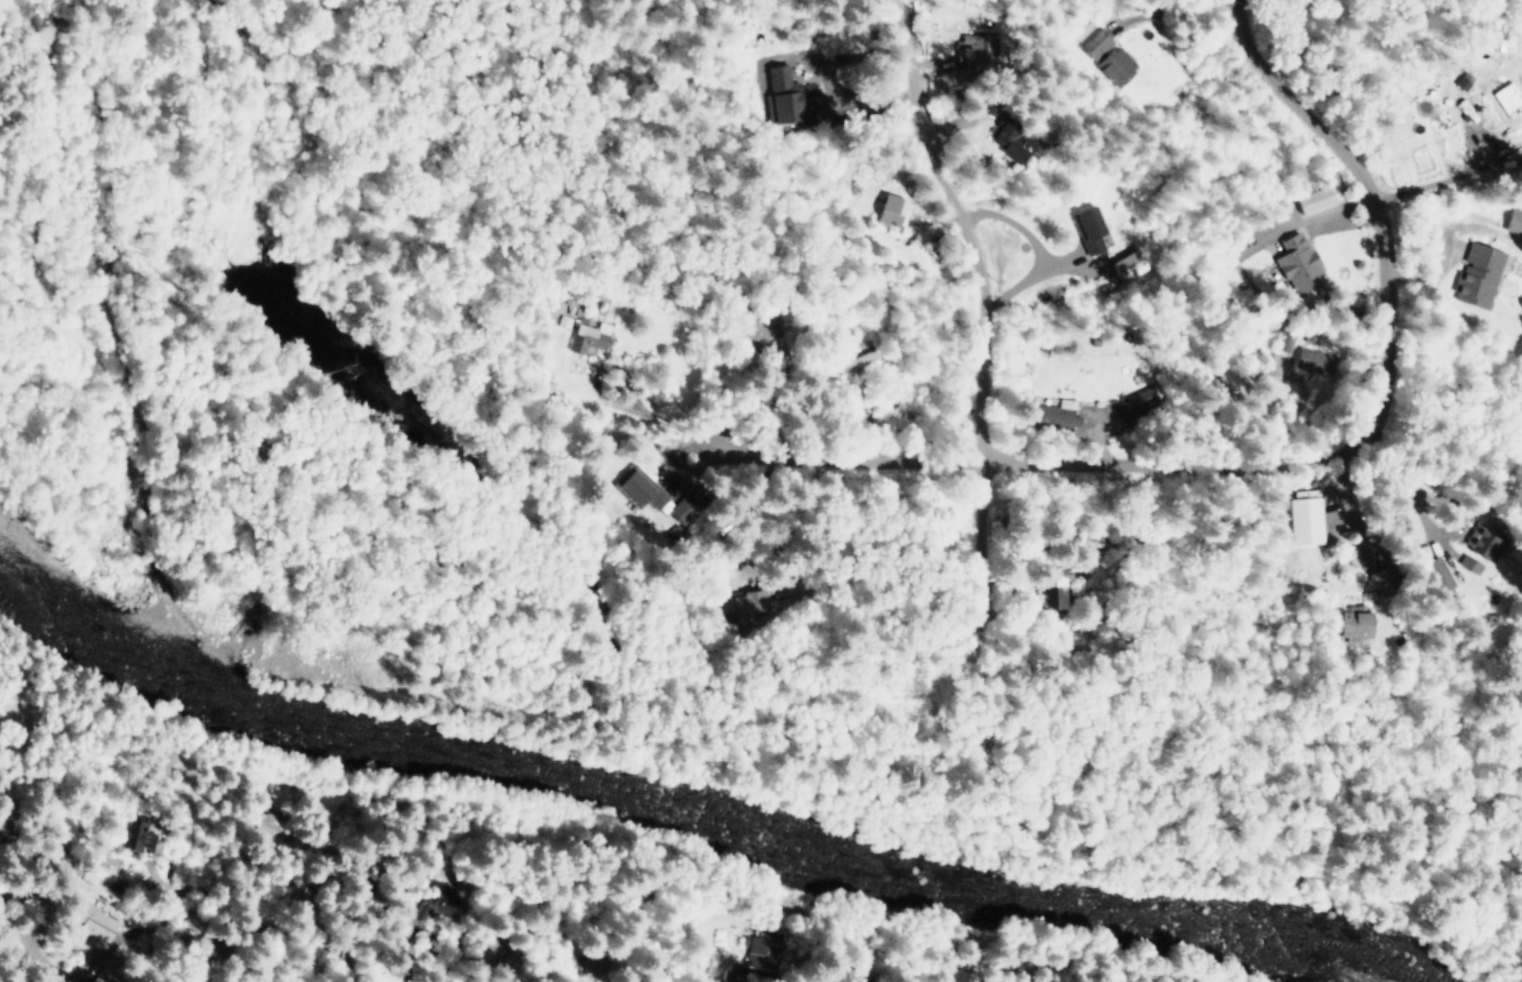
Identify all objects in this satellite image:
building: (1091, 39)
building: (982, 47)
road: (1178, 54)
building: (1116, 64)
building: (953, 76)
building: (791, 99)
building: (1003, 130)
road: (1450, 176)
building: (1315, 201)
road: (1371, 202)
building: (889, 210)
road: (1338, 212)
building: (1515, 220)
building: (1089, 229)
road: (1036, 245)
building: (1125, 263)
building: (1298, 263)
building: (1479, 274)
road: (980, 314)
building: (756, 326)
building: (590, 335)
building: (1284, 339)
building: (853, 356)
building: (1315, 361)
building: (1225, 382)
building: (1141, 398)
building: (1053, 416)
road: (932, 463)
building: (641, 489)
building: (685, 501)
building: (1306, 521)
building: (1482, 538)
building: (1468, 562)
building: (1437, 574)
building: (1385, 580)
building: (1051, 582)
building: (740, 605)
building: (1350, 621)
river: (663, 798)
building: (13, 818)
building: (267, 826)
building: (131, 833)
building: (326, 874)
building: (386, 885)
building: (36, 900)
building: (436, 904)
road: (231, 909)
building: (85, 923)
road: (30, 943)
building: (493, 949)
building: (752, 957)
building: (591, 963)
building: (108, 968)
building: (247, 969)

